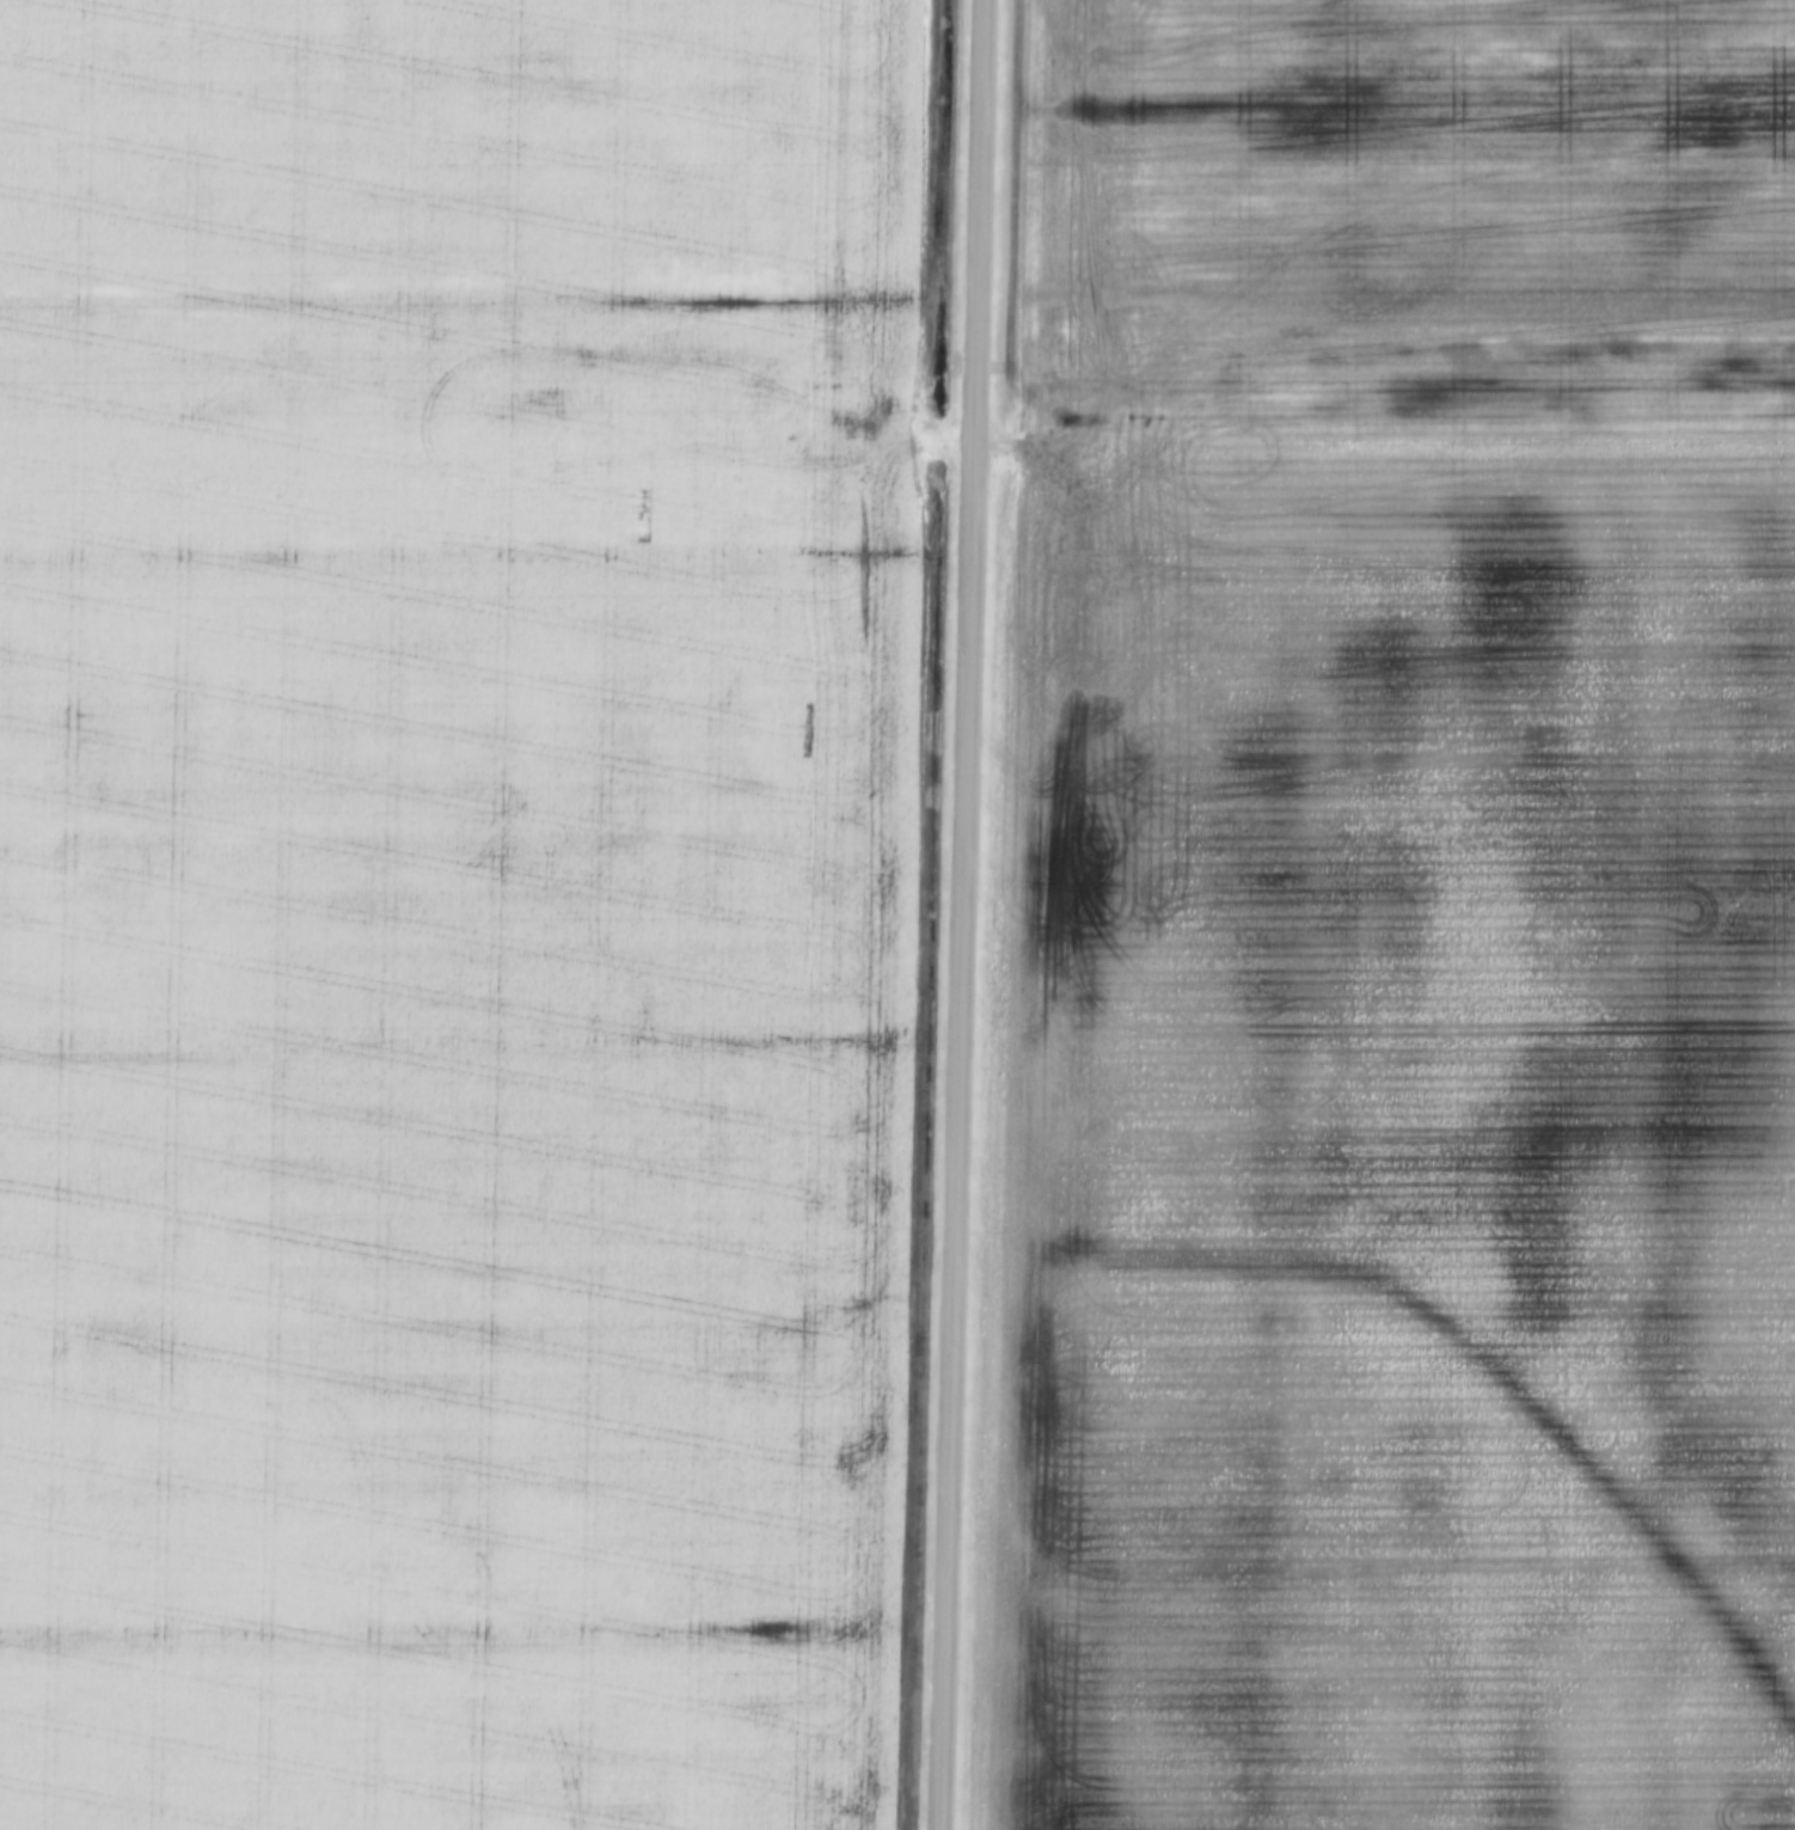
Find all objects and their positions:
crop: (458, 907)
road: (964, 914)
crop: (1392, 925)

